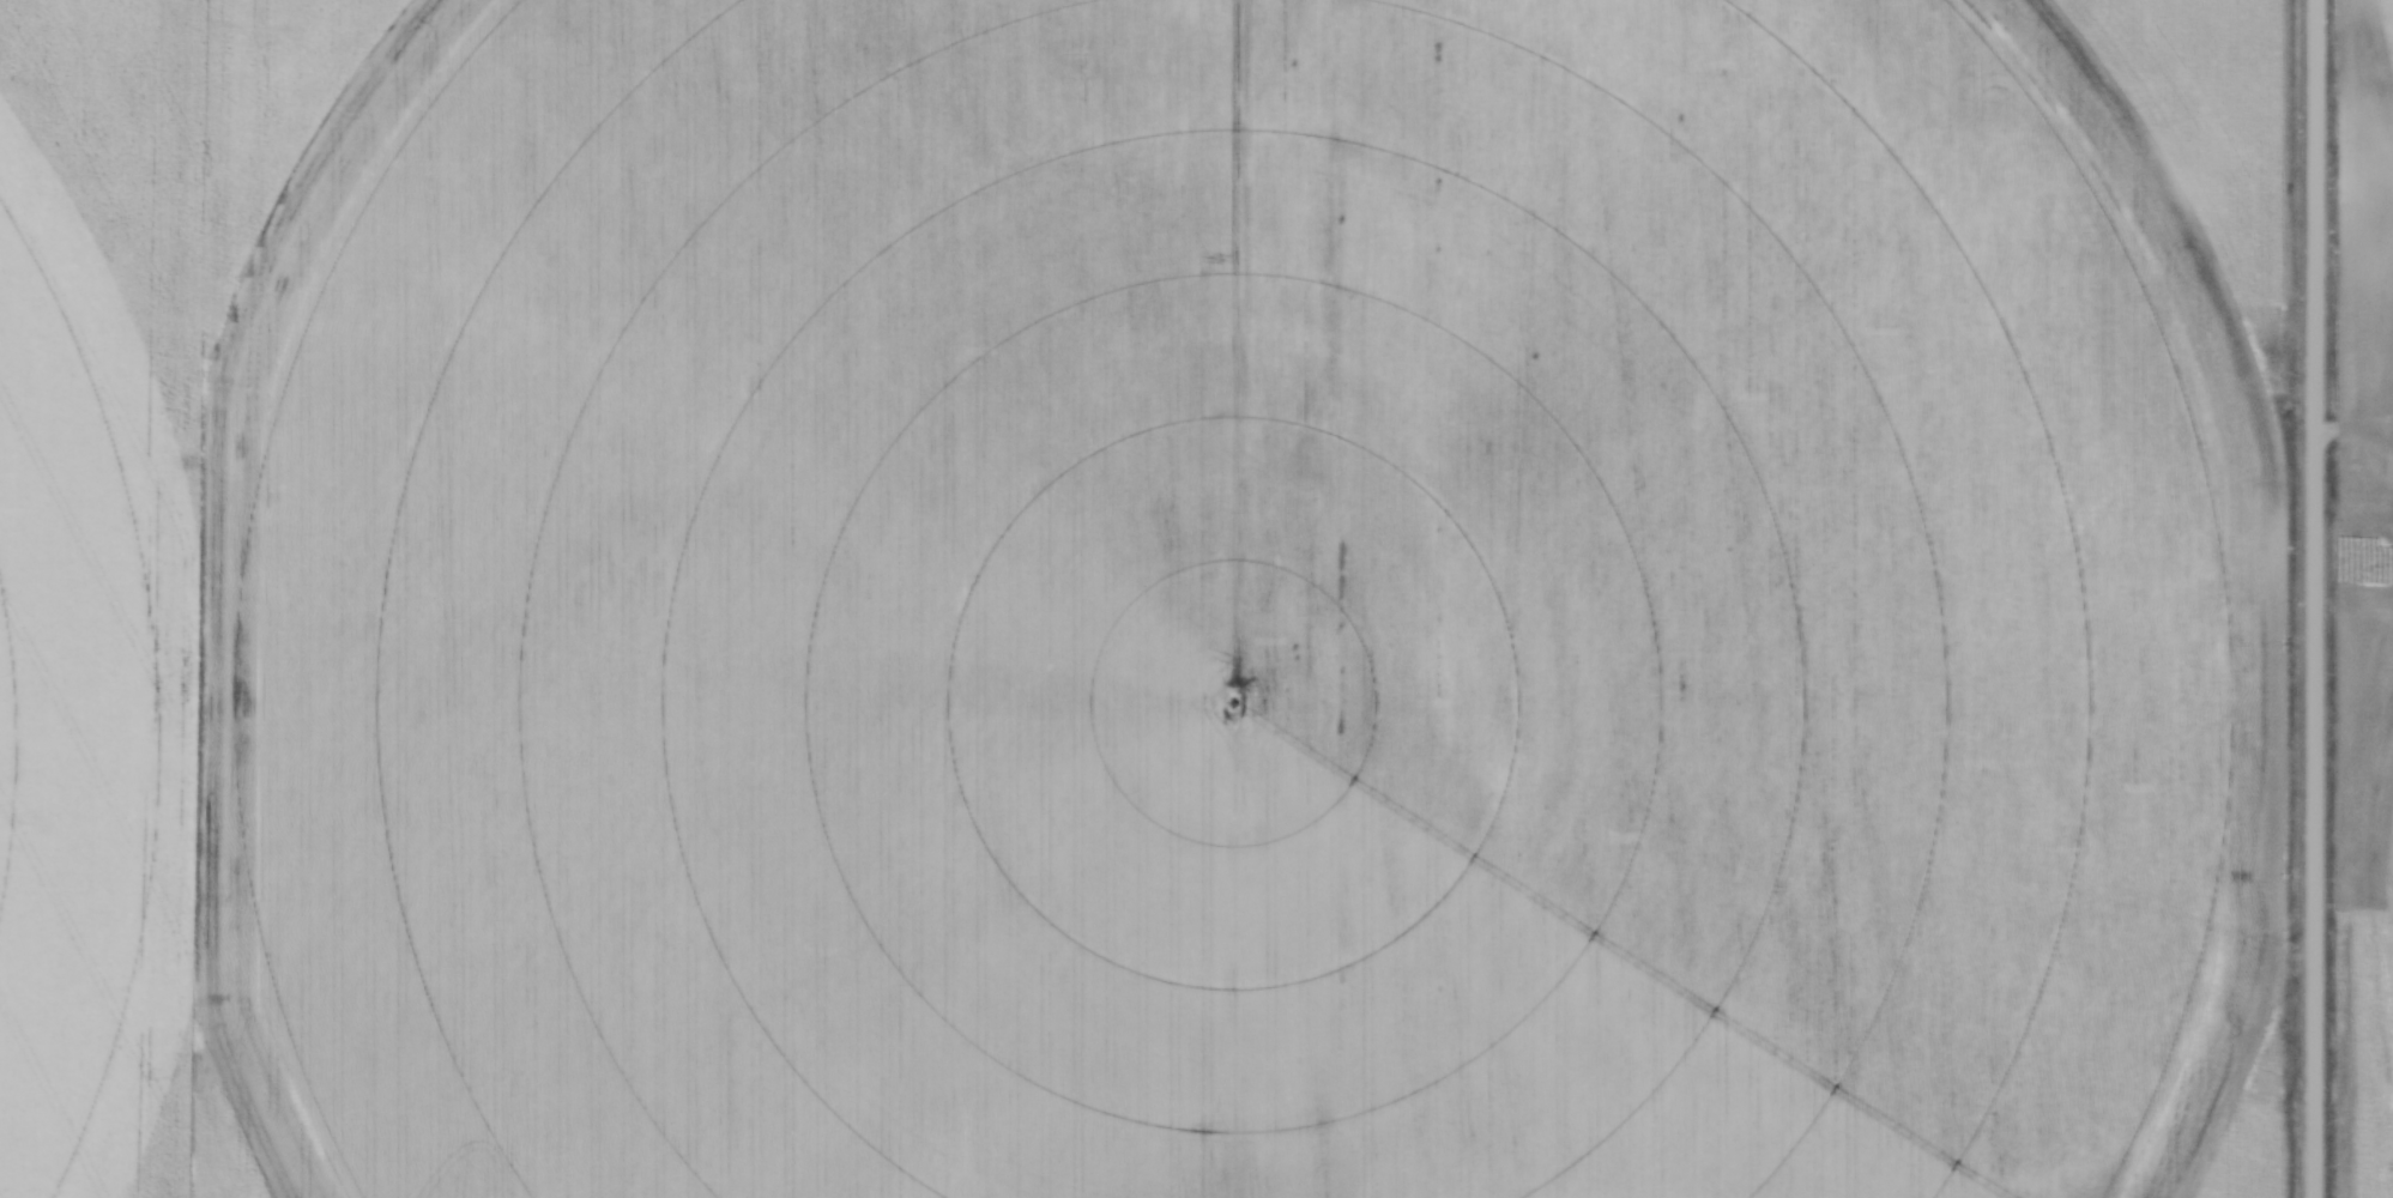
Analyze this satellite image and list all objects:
road: (2316, 599)

